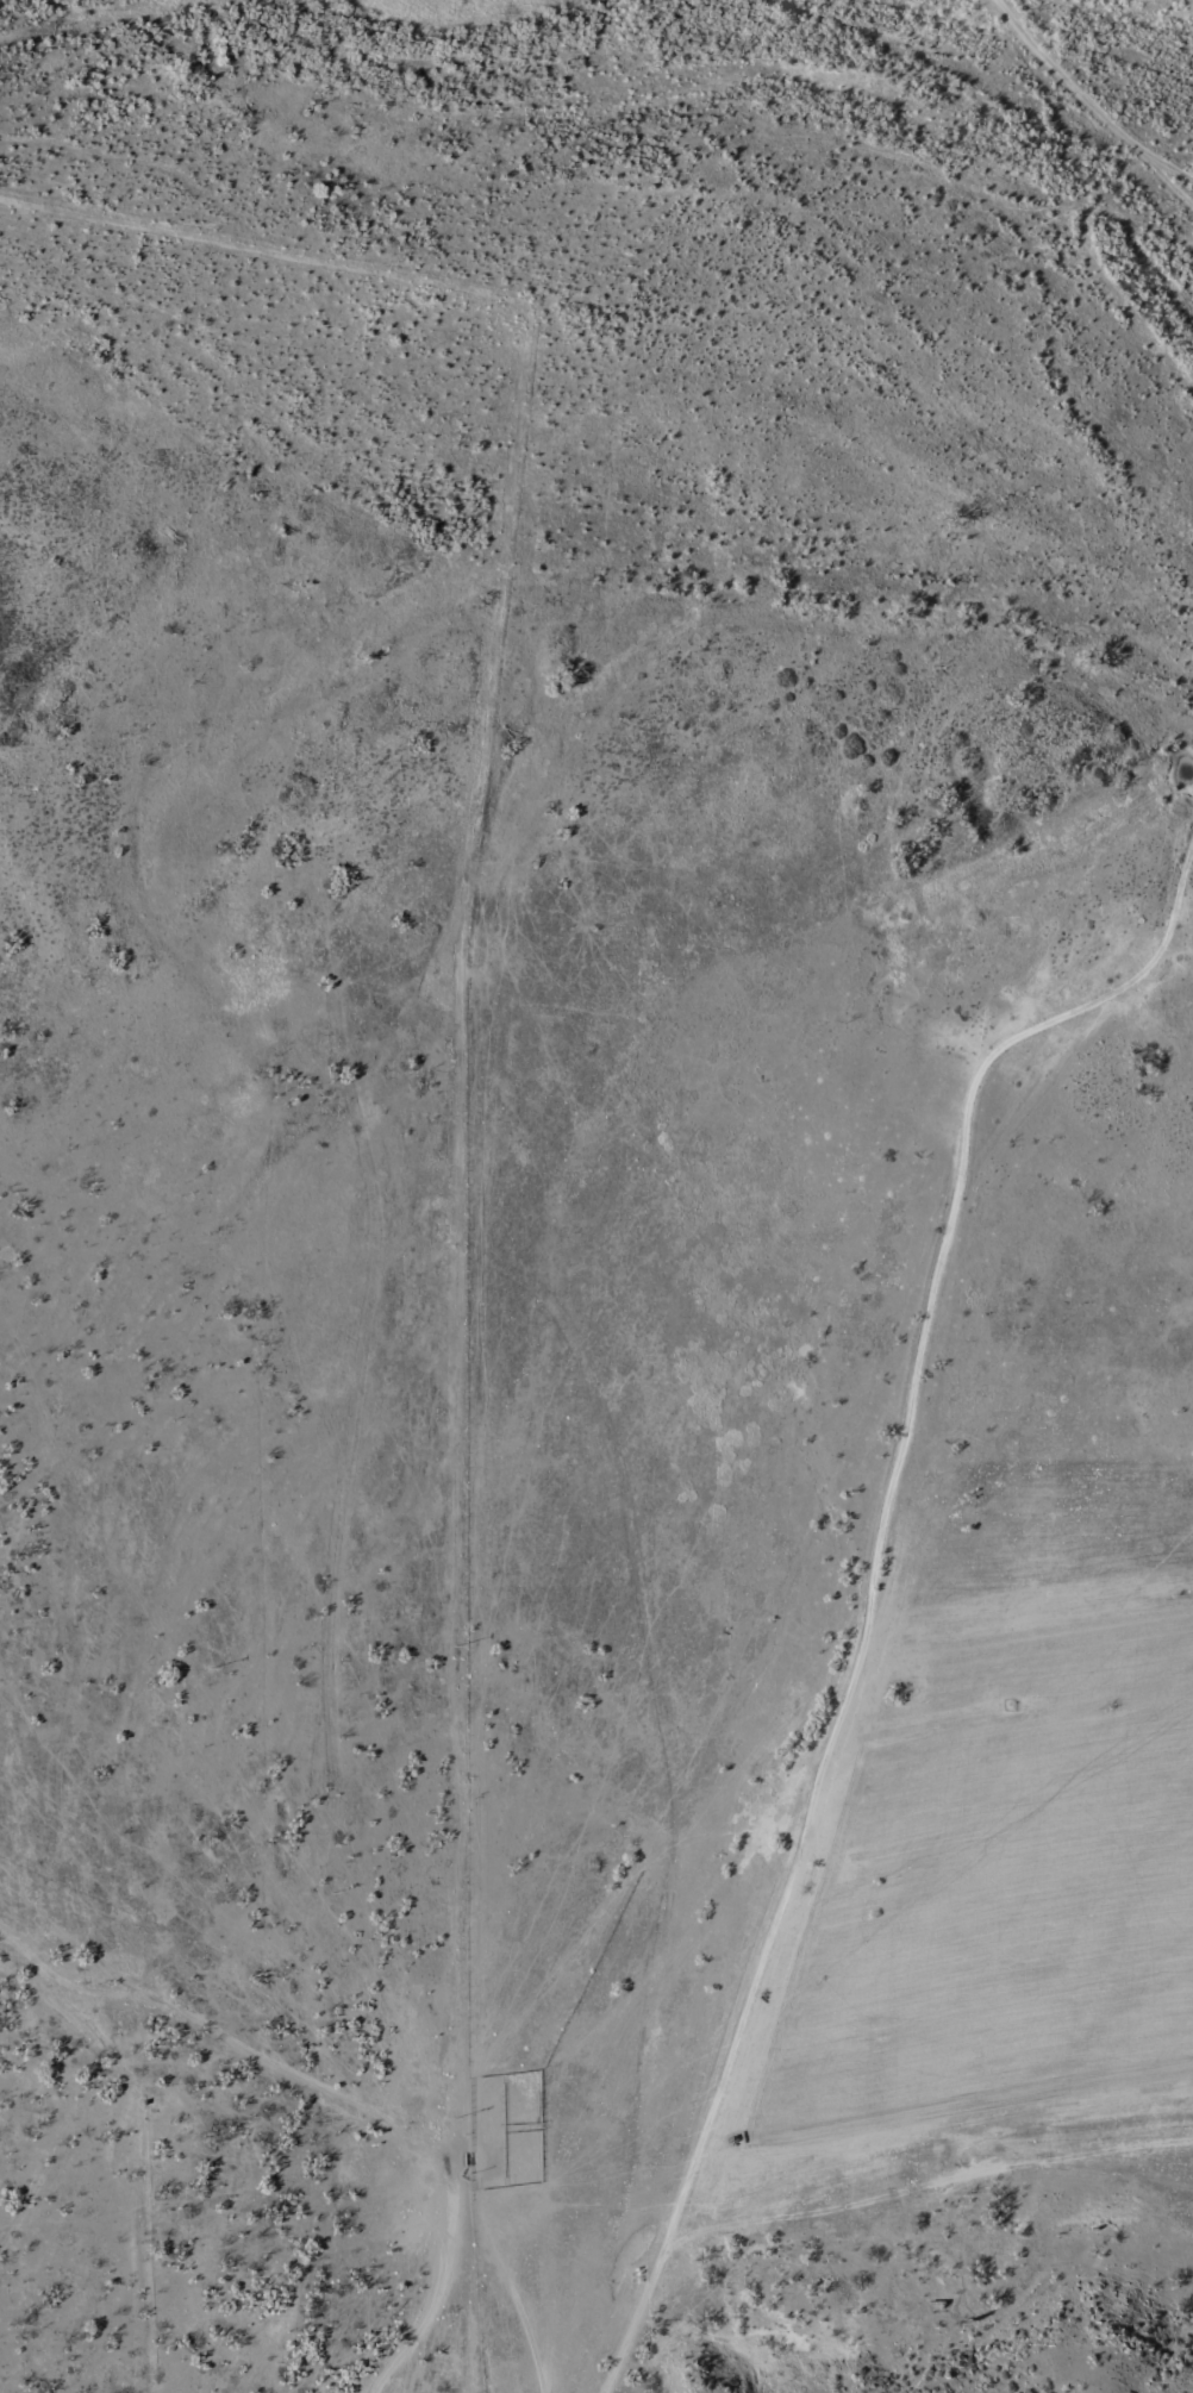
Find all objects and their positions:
river: (466, 10)

